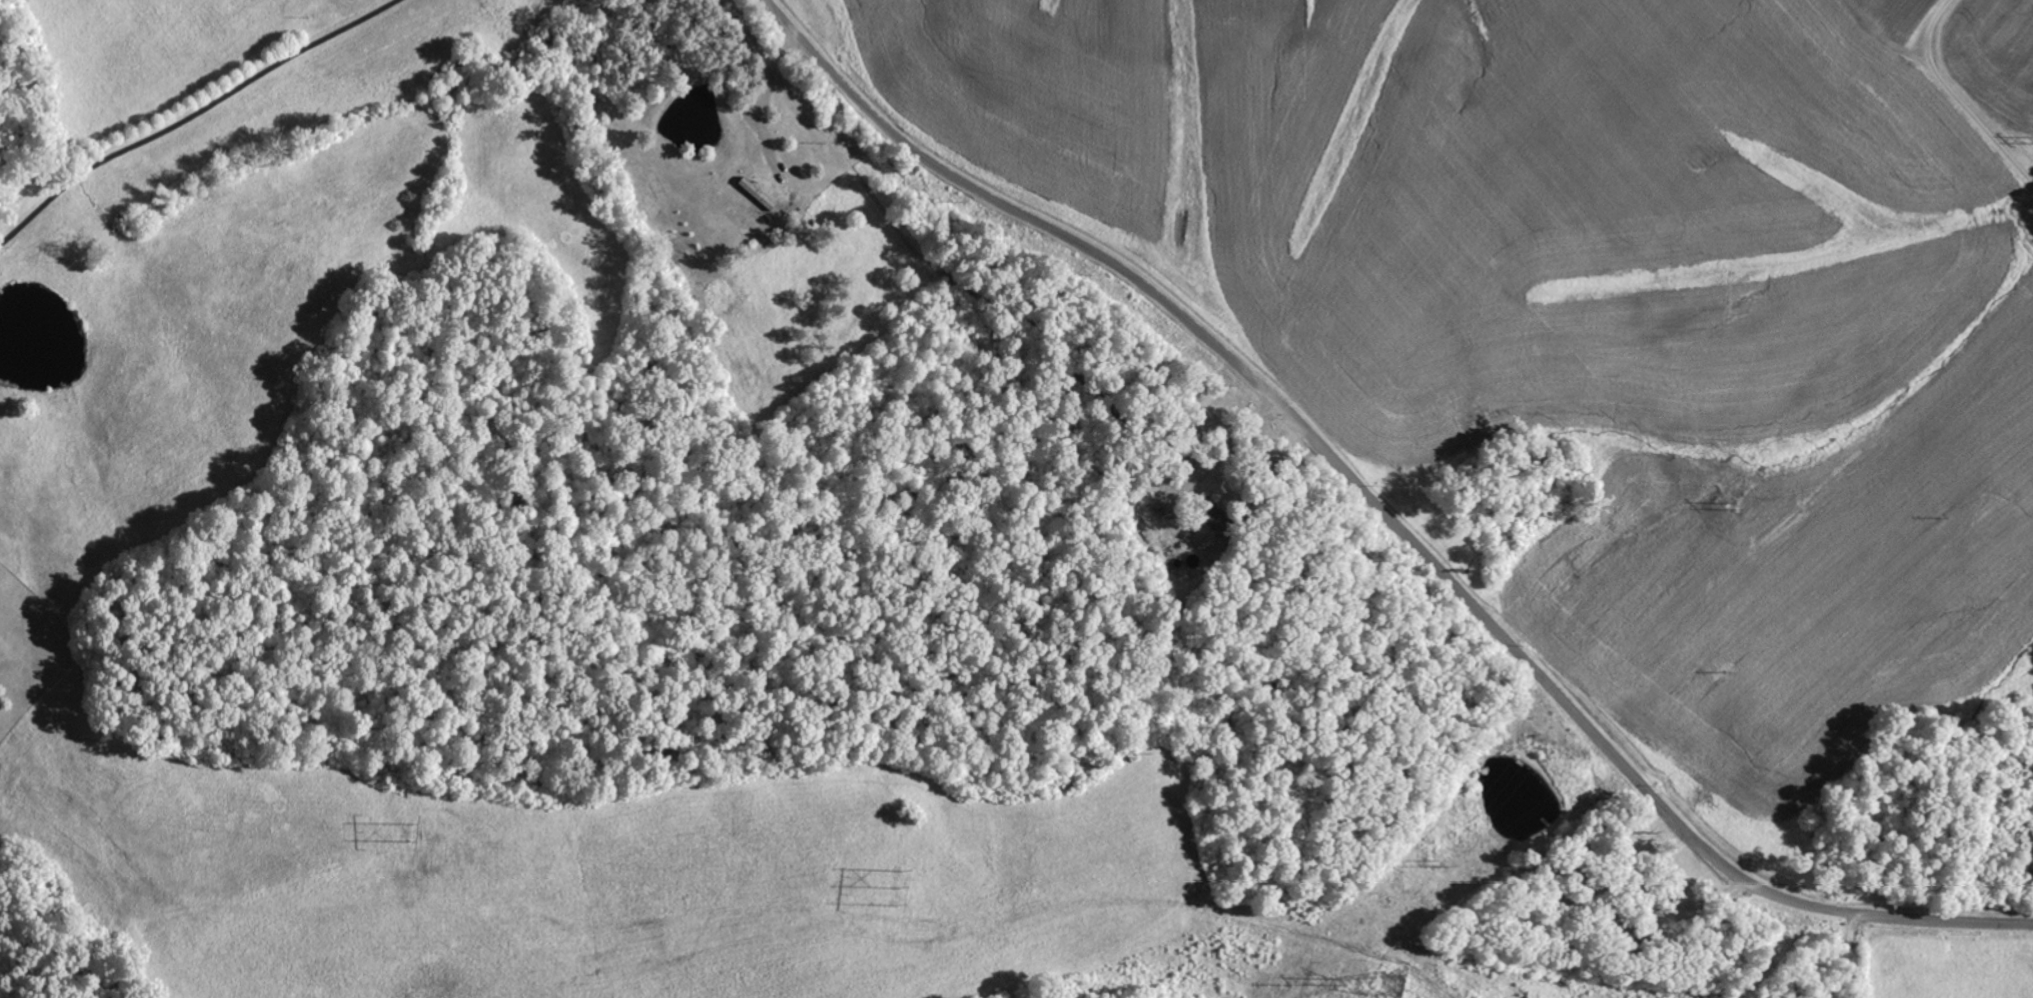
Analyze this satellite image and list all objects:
road: (1954, 98)
road: (195, 116)
building: (759, 194)
road: (1373, 521)
building: (1209, 527)
power tower: (407, 830)
power tower: (902, 888)
power tower: (1394, 985)

